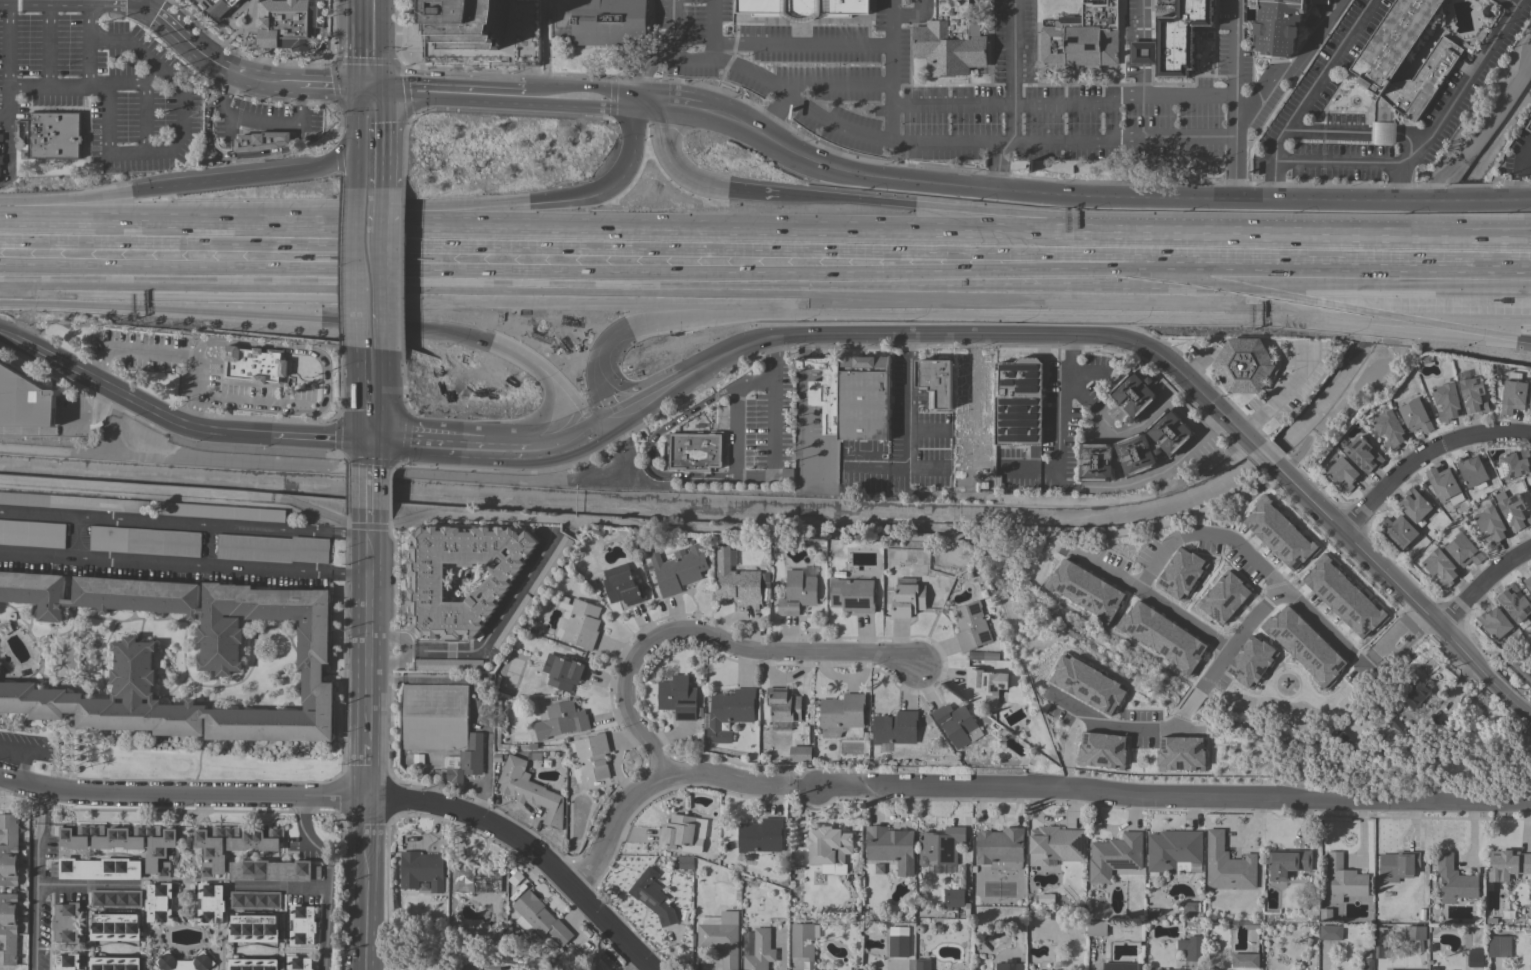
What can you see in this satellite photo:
road: (4, 0)
road: (95, 1)
building: (1318, 1)
road: (142, 2)
road: (1514, 5)
building: (219, 6)
building: (802, 8)
road: (911, 13)
road: (1140, 18)
road: (163, 19)
building: (601, 21)
building: (472, 23)
building: (286, 24)
building: (1278, 26)
road: (711, 30)
building: (1083, 37)
building: (1180, 37)
building: (949, 41)
road: (49, 42)
road: (802, 45)
road: (383, 46)
road: (358, 47)
road: (543, 48)
road: (1012, 49)
road: (1235, 51)
building: (1142, 52)
road: (206, 57)
road: (705, 59)
road: (8, 61)
road: (90, 61)
road: (648, 71)
building: (1374, 71)
road: (249, 79)
road: (117, 84)
road: (1255, 84)
road: (282, 85)
road: (812, 85)
road: (226, 87)
road: (327, 91)
traffic signals: (357, 94)
road: (370, 94)
traffic signals: (384, 94)
road: (454, 95)
road: (1304, 95)
road: (586, 97)
road: (1073, 98)
road: (901, 101)
road: (364, 103)
road: (377, 103)
road: (1452, 103)
road: (674, 104)
road: (144, 106)
road: (297, 106)
road: (255, 118)
road: (371, 118)
road: (893, 121)
building: (1529, 126)
road: (1483, 133)
building: (21, 135)
building: (52, 135)
building: (1, 137)
road: (1122, 138)
building: (261, 140)
road: (885, 140)
road: (164, 153)
road: (642, 153)
road: (371, 156)
building: (1, 160)
road: (1337, 161)
building: (0, 171)
road: (274, 182)
road: (1526, 184)
road: (701, 195)
road: (1526, 200)
traffic signals: (616, 201)
road: (1102, 201)
road: (78, 202)
road: (372, 211)
road: (1019, 225)
road: (424, 230)
road: (115, 241)
road: (726, 248)
road: (1478, 248)
road: (1324, 251)
road: (1478, 255)
road: (371, 259)
railway: (765, 266)
road: (494, 283)
road: (1090, 294)
road: (1362, 299)
road: (246, 304)
road: (783, 306)
road: (370, 317)
road: (1361, 318)
traffic signals: (614, 325)
road: (892, 334)
road: (802, 345)
road: (284, 348)
road: (520, 348)
road: (135, 351)
road: (801, 363)
road: (1196, 364)
parking lot: (184, 365)
building: (254, 365)
building: (1243, 365)
road: (1087, 372)
building: (937, 379)
road: (591, 388)
road: (616, 388)
building: (823, 389)
road: (1079, 392)
road: (195, 393)
road: (1282, 393)
road: (573, 394)
building: (1133, 394)
building: (1473, 395)
road: (370, 396)
building: (1513, 396)
building: (863, 397)
building: (25, 400)
road: (131, 401)
building: (1018, 401)
building: (1447, 401)
road: (908, 402)
road: (256, 404)
building: (1530, 404)
road: (629, 405)
building: (1415, 416)
road: (544, 424)
building: (1390, 429)
road: (66, 431)
building: (1169, 432)
road: (798, 436)
road: (321, 439)
traffic signals: (371, 442)
road: (565, 442)
road: (426, 444)
road: (649, 445)
road: (505, 449)
building: (695, 451)
road: (119, 454)
road: (371, 454)
building: (1136, 454)
building: (1363, 454)
road: (1423, 457)
road: (631, 460)
building: (1095, 461)
building: (1514, 464)
road: (871, 470)
building: (1472, 471)
building: (1343, 474)
road: (756, 477)
building: (1442, 483)
road: (1080, 487)
road: (371, 488)
building: (1530, 492)
building: (74, 502)
building: (1414, 504)
building: (1513, 510)
building: (223, 512)
road: (371, 517)
road: (163, 524)
building: (1491, 525)
road: (1335, 528)
building: (1399, 531)
building: (1278, 532)
building: (32, 533)
road: (1202, 533)
road: (349, 535)
building: (145, 541)
building: (272, 548)
building: (1463, 550)
building: (551, 566)
road: (163, 567)
building: (1441, 567)
building: (678, 568)
building: (1530, 568)
road: (1106, 570)
building: (1180, 571)
road: (348, 576)
building: (426, 578)
building: (736, 580)
building: (1528, 583)
building: (622, 585)
road: (1480, 586)
building: (1085, 590)
building: (797, 593)
building: (852, 595)
building: (1223, 596)
building: (908, 600)
building: (1514, 603)
building: (1346, 618)
road: (498, 622)
building: (1495, 622)
building: (513, 623)
building: (581, 624)
building: (973, 625)
road: (370, 632)
road: (710, 635)
building: (1162, 635)
building: (1391, 635)
building: (1304, 646)
road: (391, 651)
building: (220, 656)
building: (67, 658)
building: (1082, 658)
building: (1250, 661)
building: (449, 665)
building: (564, 671)
building: (985, 683)
building: (1086, 684)
building: (1245, 686)
building: (1413, 692)
building: (678, 697)
building: (783, 705)
building: (730, 712)
building: (1335, 712)
building: (841, 713)
building: (435, 717)
building: (561, 720)
building: (1075, 722)
building: (957, 724)
road: (1150, 725)
building: (1398, 725)
building: (895, 727)
building: (1218, 735)
building: (1341, 739)
building: (800, 753)
building: (1180, 753)
road: (26, 754)
building: (1088, 755)
building: (592, 757)
building: (469, 759)
road: (55, 760)
road: (369, 769)
road: (823, 788)
building: (530, 790)
road: (183, 795)
road: (1332, 797)
road: (368, 822)
building: (677, 831)
road: (306, 834)
building: (760, 835)
building: (124, 842)
building: (232, 844)
building: (828, 844)
building: (940, 845)
building: (1055, 845)
building: (891, 847)
building: (1001, 848)
road: (529, 849)
building: (9, 850)
building: (1174, 850)
building: (1114, 856)
building: (1287, 862)
building: (1227, 864)
building: (1508, 864)
building: (1398, 865)
building: (96, 868)
building: (273, 870)
building: (421, 870)
building: (515, 877)
building: (476, 879)
building: (1344, 879)
road: (32, 880)
building: (1454, 880)
road: (82, 885)
road: (285, 888)
building: (115, 898)
building: (652, 898)
building: (953, 898)
building: (1046, 898)
building: (254, 900)
building: (159, 903)
building: (210, 903)
road: (367, 908)
building: (1326, 914)
road: (330, 917)
building: (540, 917)
building: (67, 922)
building: (115, 925)
building: (302, 925)
building: (253, 927)
building: (8, 928)
building: (1096, 928)
building: (1330, 932)
building: (1415, 932)
building: (722, 938)
building: (803, 940)
building: (1380, 942)
building: (898, 946)
building: (1499, 946)
building: (1191, 948)
building: (760, 950)
building: (1475, 957)
building: (1245, 960)
building: (67, 962)
building: (184, 962)
road: (413, 962)
building: (114, 963)
building: (298, 963)
building: (253, 964)
building: (923, 964)
building: (1367, 964)
building: (1010, 966)
building: (1121, 966)
building: (867, 969)
building: (1216, 969)
building: (1400, 969)

